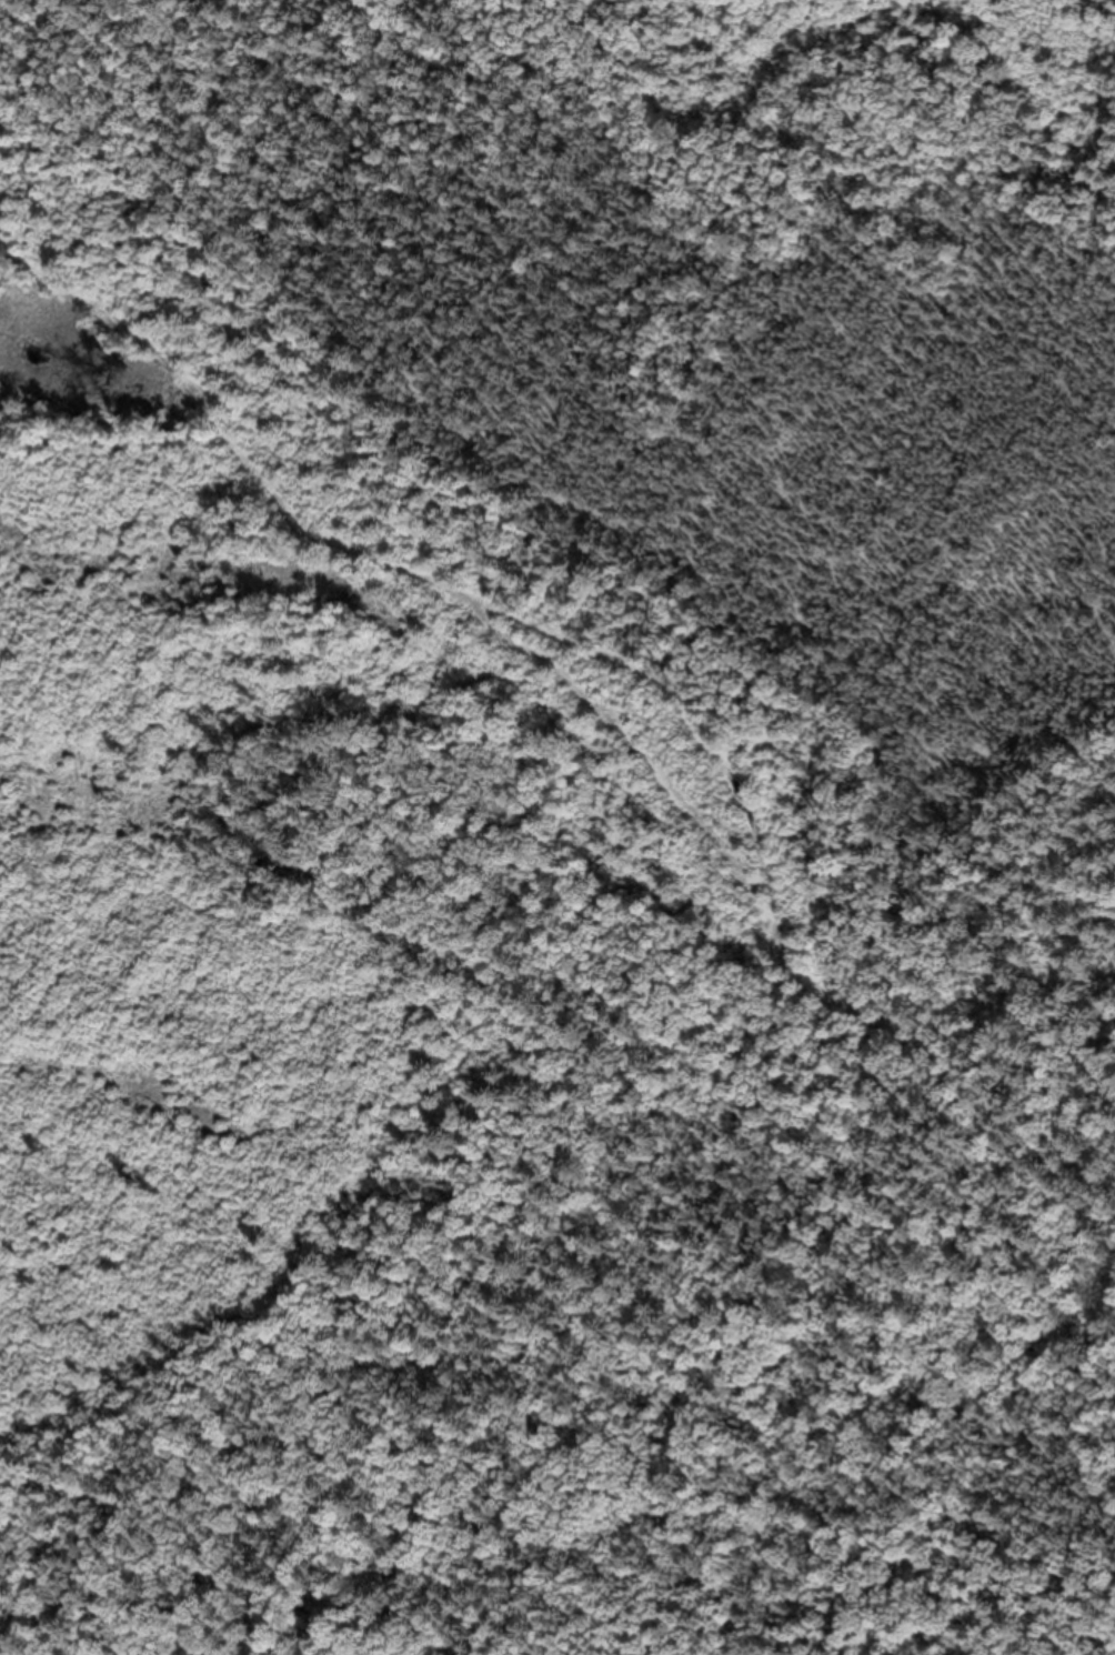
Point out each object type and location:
park: (557, 827)

